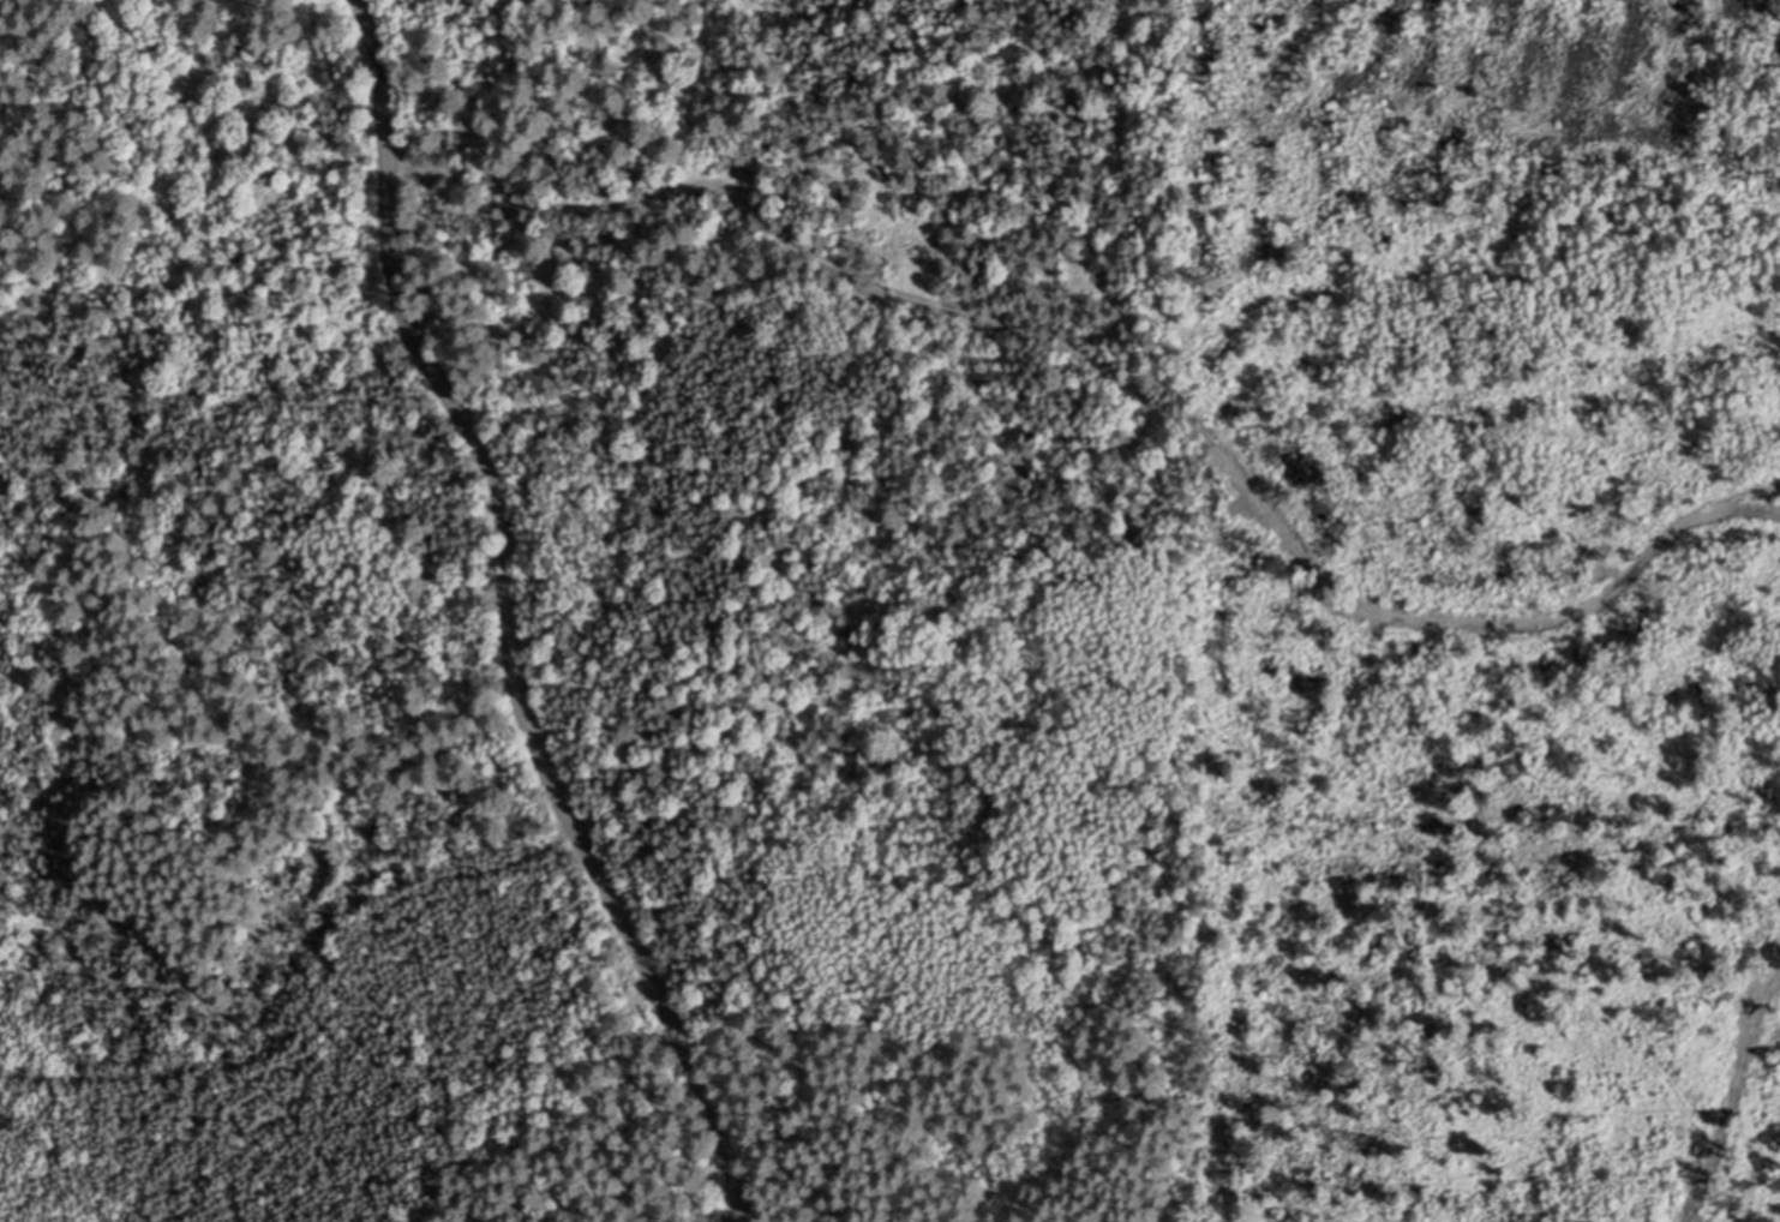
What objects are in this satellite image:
road: (508, 619)

